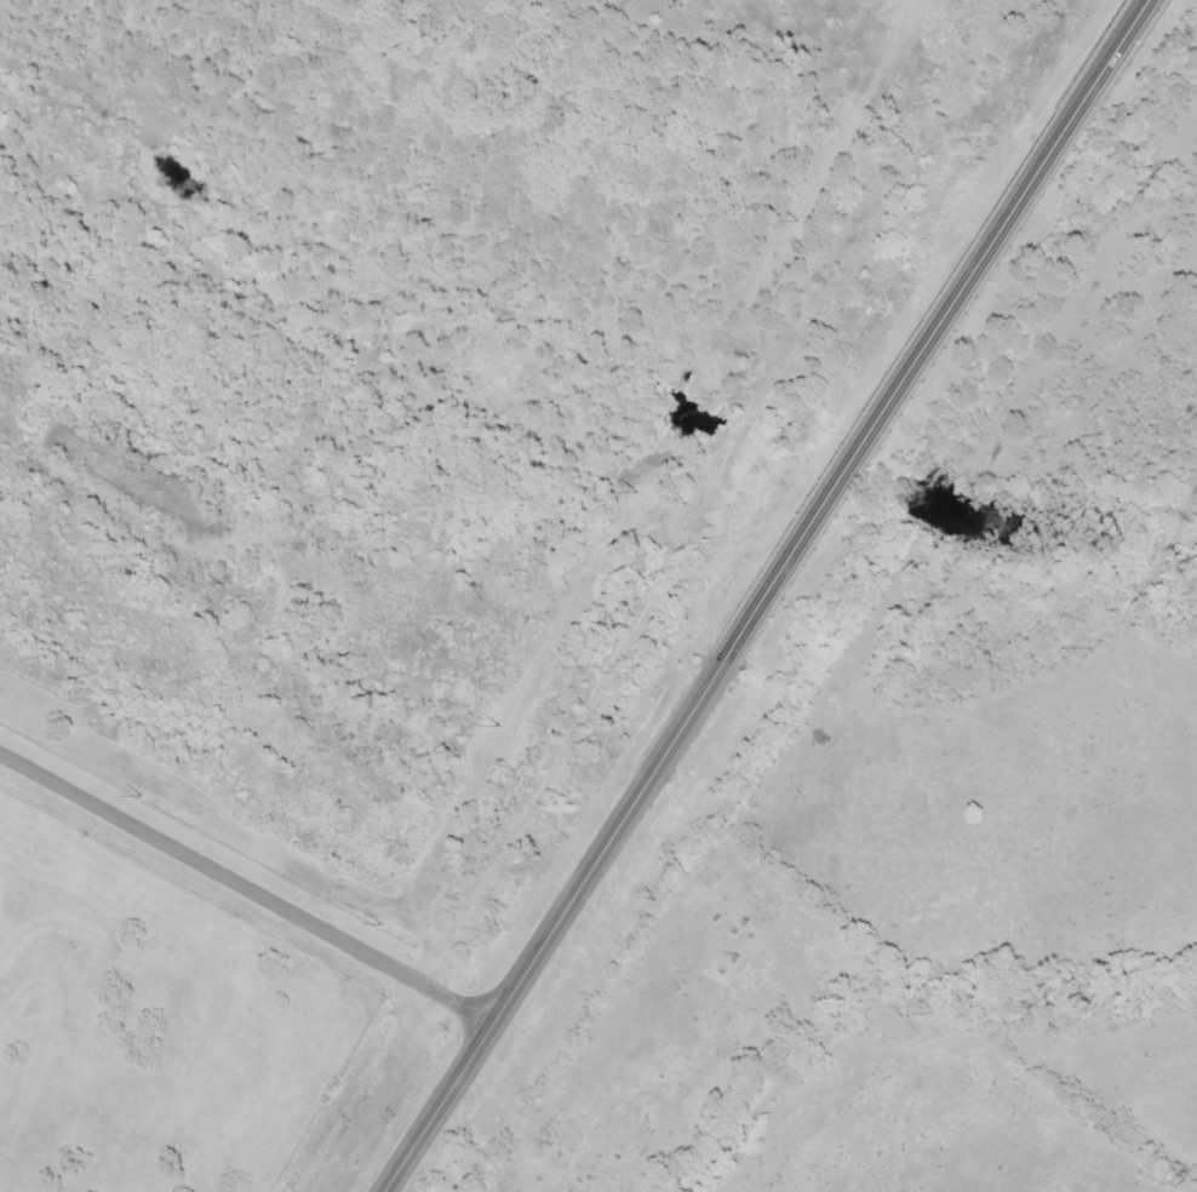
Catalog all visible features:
power tower: (795, 219)
road: (934, 338)
power tower: (635, 494)
railway: (618, 596)
power tower: (498, 727)
power tower: (141, 797)
road: (246, 890)
power tower: (382, 925)
road: (549, 934)

